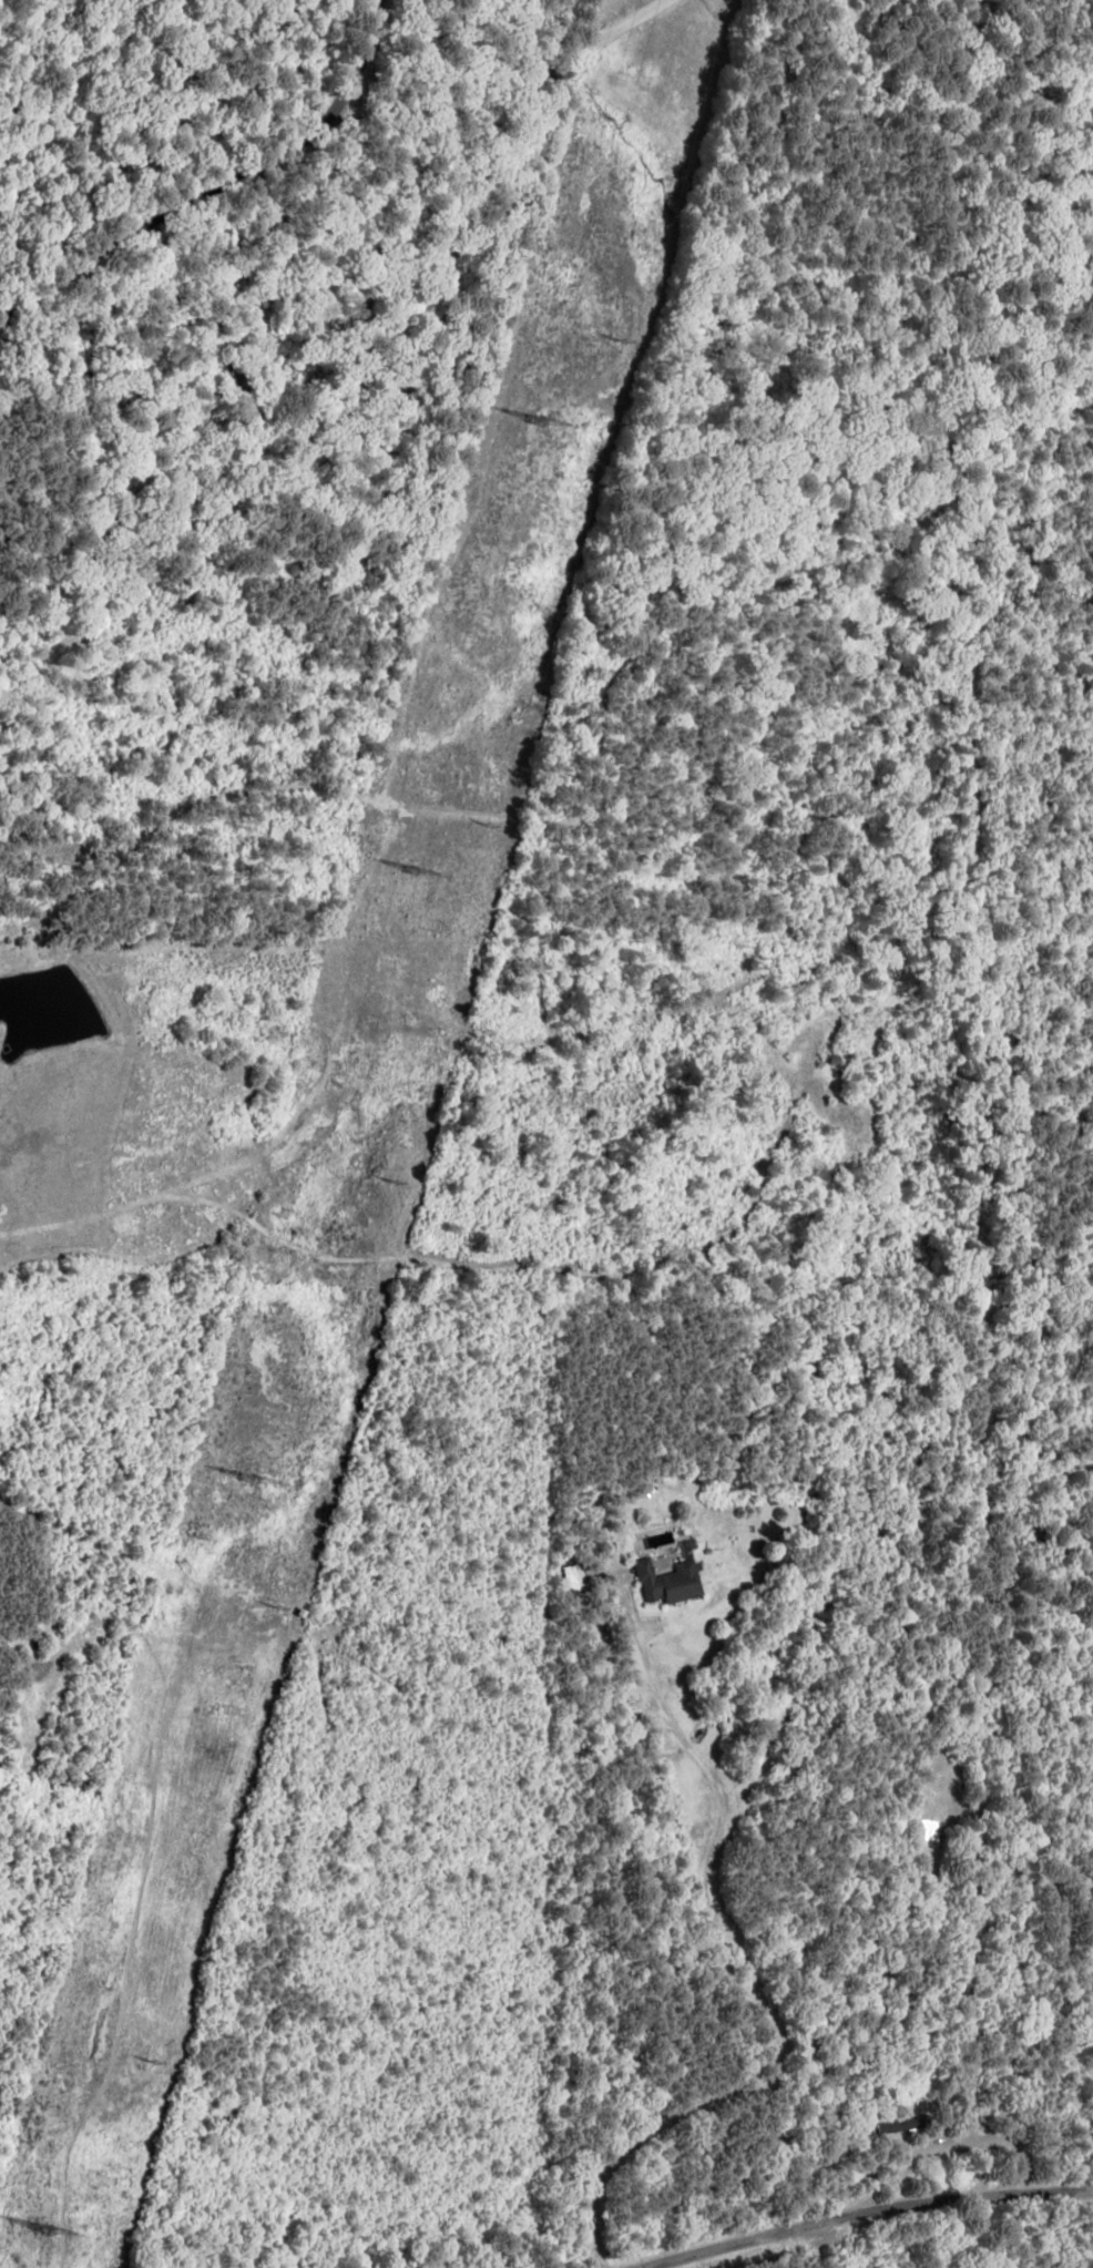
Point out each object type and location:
road: (218, 207)
power tower: (530, 426)
power tower: (409, 875)
power tower: (246, 1478)
building: (663, 1572)
road: (928, 2165)
power tower: (41, 2230)
road: (888, 2247)

